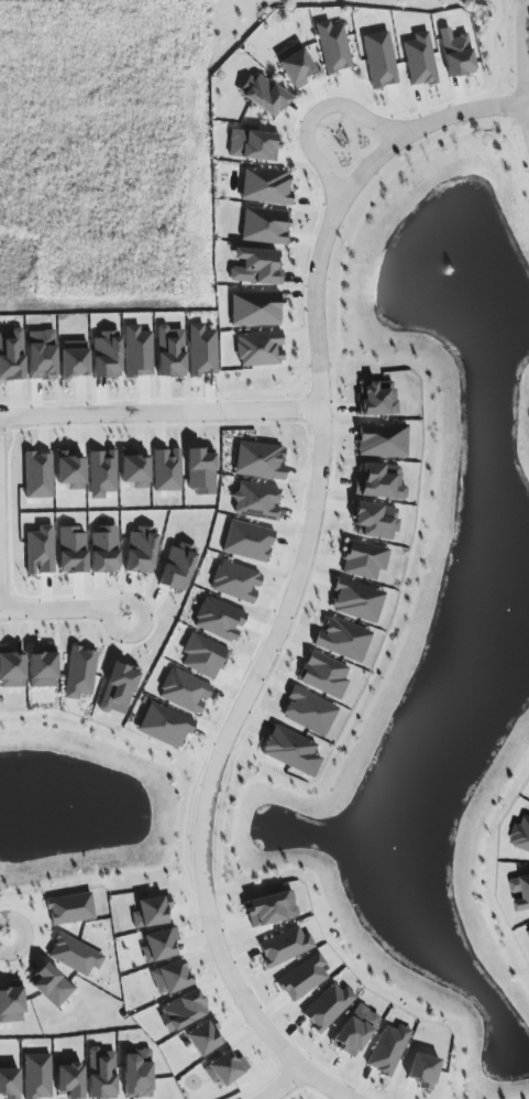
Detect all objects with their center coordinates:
road: (525, 44)
building: (333, 47)
building: (456, 53)
building: (419, 59)
building: (295, 65)
building: (264, 95)
road: (316, 113)
building: (266, 186)
building: (265, 226)
building: (256, 266)
fountain: (456, 268)
building: (255, 308)
building: (260, 349)
building: (202, 350)
building: (137, 352)
building: (170, 352)
building: (42, 355)
building: (107, 355)
building: (11, 356)
building: (74, 359)
building: (377, 399)
road: (161, 413)
building: (382, 440)
building: (260, 461)
building: (167, 470)
building: (200, 472)
building: (102, 474)
building: (38, 476)
building: (381, 481)
building: (256, 501)
building: (375, 521)
building: (249, 542)
road: (308, 546)
road: (1, 549)
building: (71, 549)
building: (40, 551)
building: (104, 551)
building: (141, 551)
building: (364, 559)
building: (178, 566)
building: (236, 581)
building: (356, 600)
road: (60, 607)
building: (219, 619)
building: (343, 639)
building: (203, 656)
building: (11, 668)
building: (43, 668)
building: (80, 673)
building: (324, 675)
building: (119, 689)
building: (185, 692)
building: (309, 711)
building: (165, 726)
building: (289, 749)
building: (520, 835)
building: (520, 890)
building: (70, 908)
building: (271, 908)
building: (153, 913)
road: (5, 929)
building: (527, 929)
building: (161, 946)
building: (285, 946)
building: (75, 955)
building: (172, 977)
building: (304, 978)
building: (51, 984)
building: (12, 1002)
building: (328, 1006)
building: (183, 1011)
building: (355, 1031)
building: (205, 1037)
building: (388, 1049)
building: (225, 1068)
building: (423, 1069)
building: (101, 1074)
building: (137, 1074)
building: (37, 1076)
building: (70, 1079)
building: (9, 1081)
road: (328, 1084)
road: (288, 1085)

